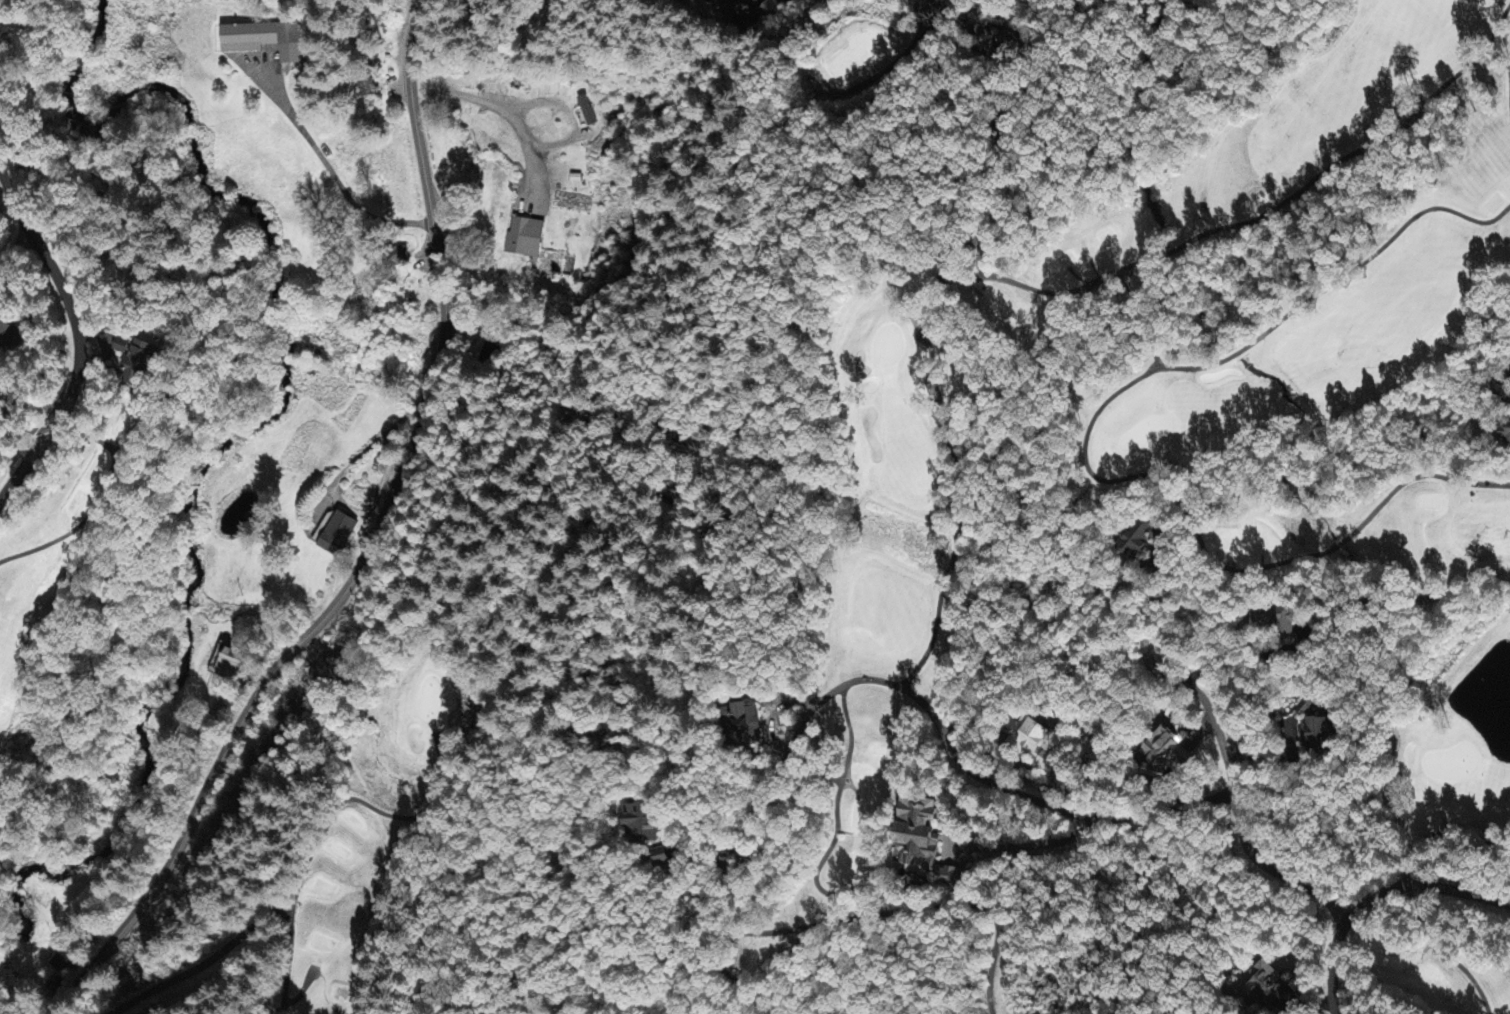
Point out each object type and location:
building: (769, 12)
building: (263, 41)
building: (585, 112)
road: (5, 225)
building: (524, 239)
building: (4, 333)
road: (77, 336)
building: (132, 362)
park: (1332, 392)
building: (1502, 399)
building: (1505, 432)
park: (914, 509)
building: (335, 534)
building: (1138, 540)
park: (31, 547)
road: (369, 548)
building: (1277, 619)
building: (226, 663)
road: (926, 708)
building: (742, 724)
building: (1313, 732)
building: (1033, 741)
building: (1160, 749)
road: (1226, 758)
building: (641, 823)
park: (1445, 826)
park: (98, 832)
building: (921, 837)
building: (660, 858)
road: (1377, 895)
building: (62, 961)
building: (1261, 982)

